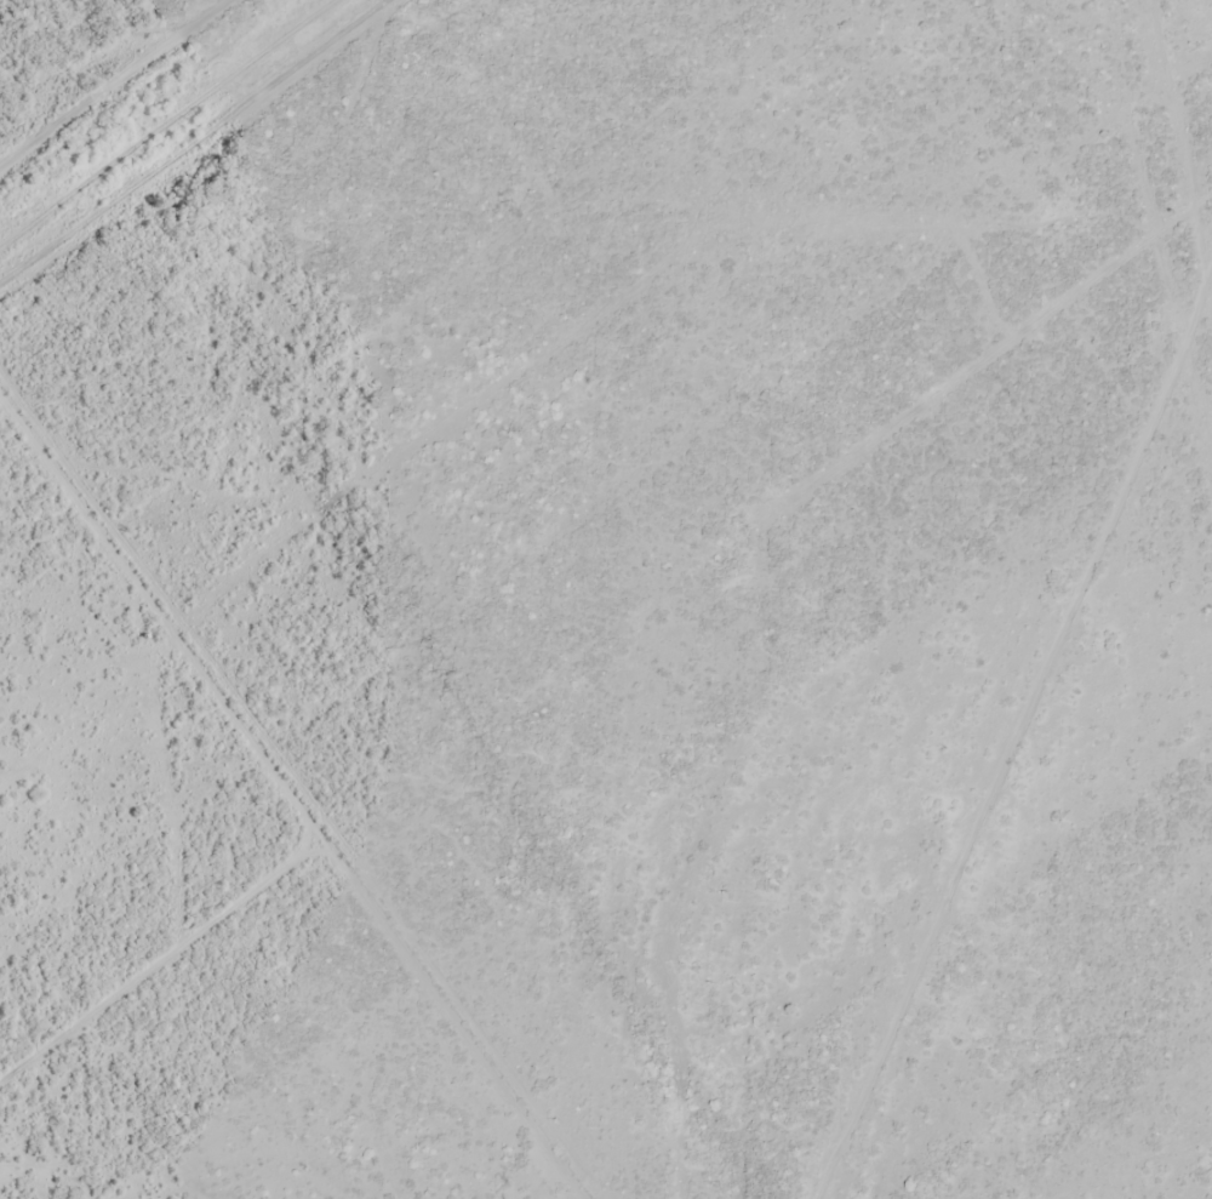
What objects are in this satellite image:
road: (120, 86)
road: (204, 148)

